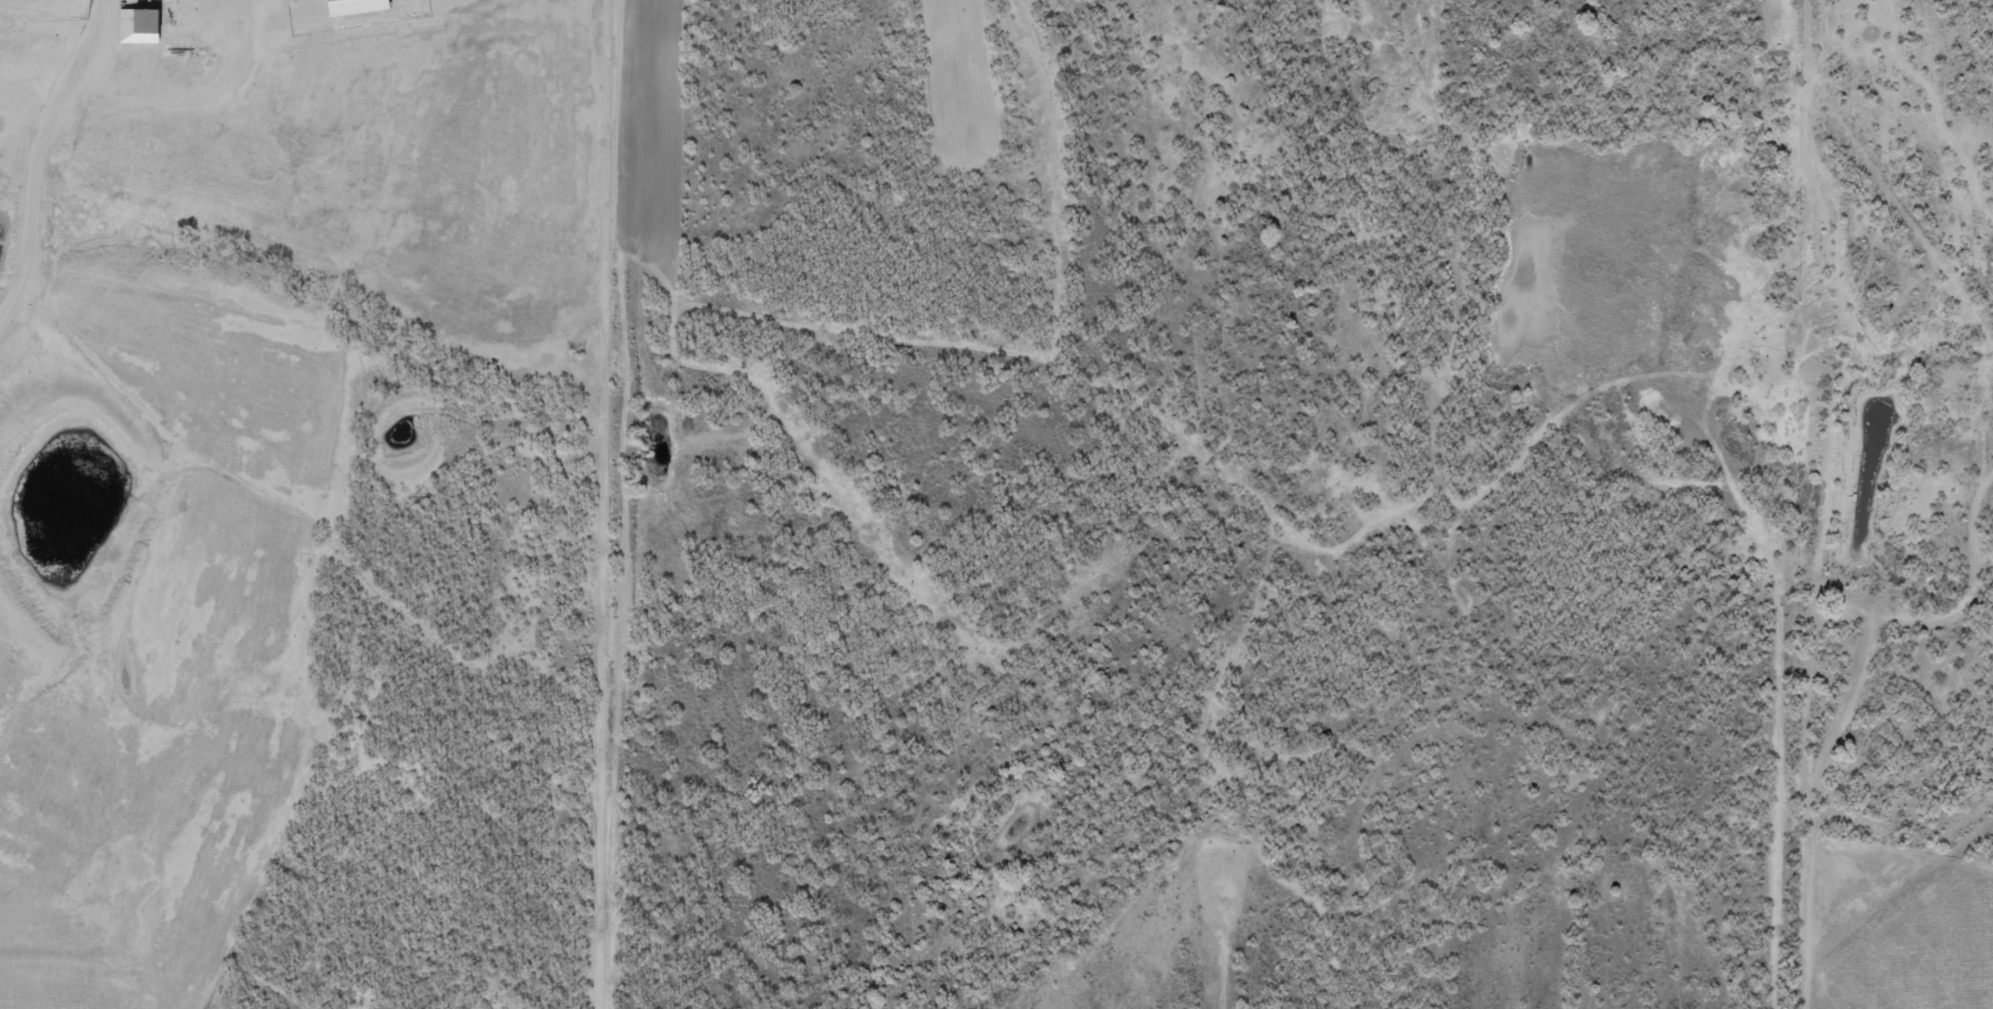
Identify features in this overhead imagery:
building: (131, 25)
road: (169, 76)
road: (25, 213)
road: (10, 405)
road: (18, 417)
road: (187, 551)

